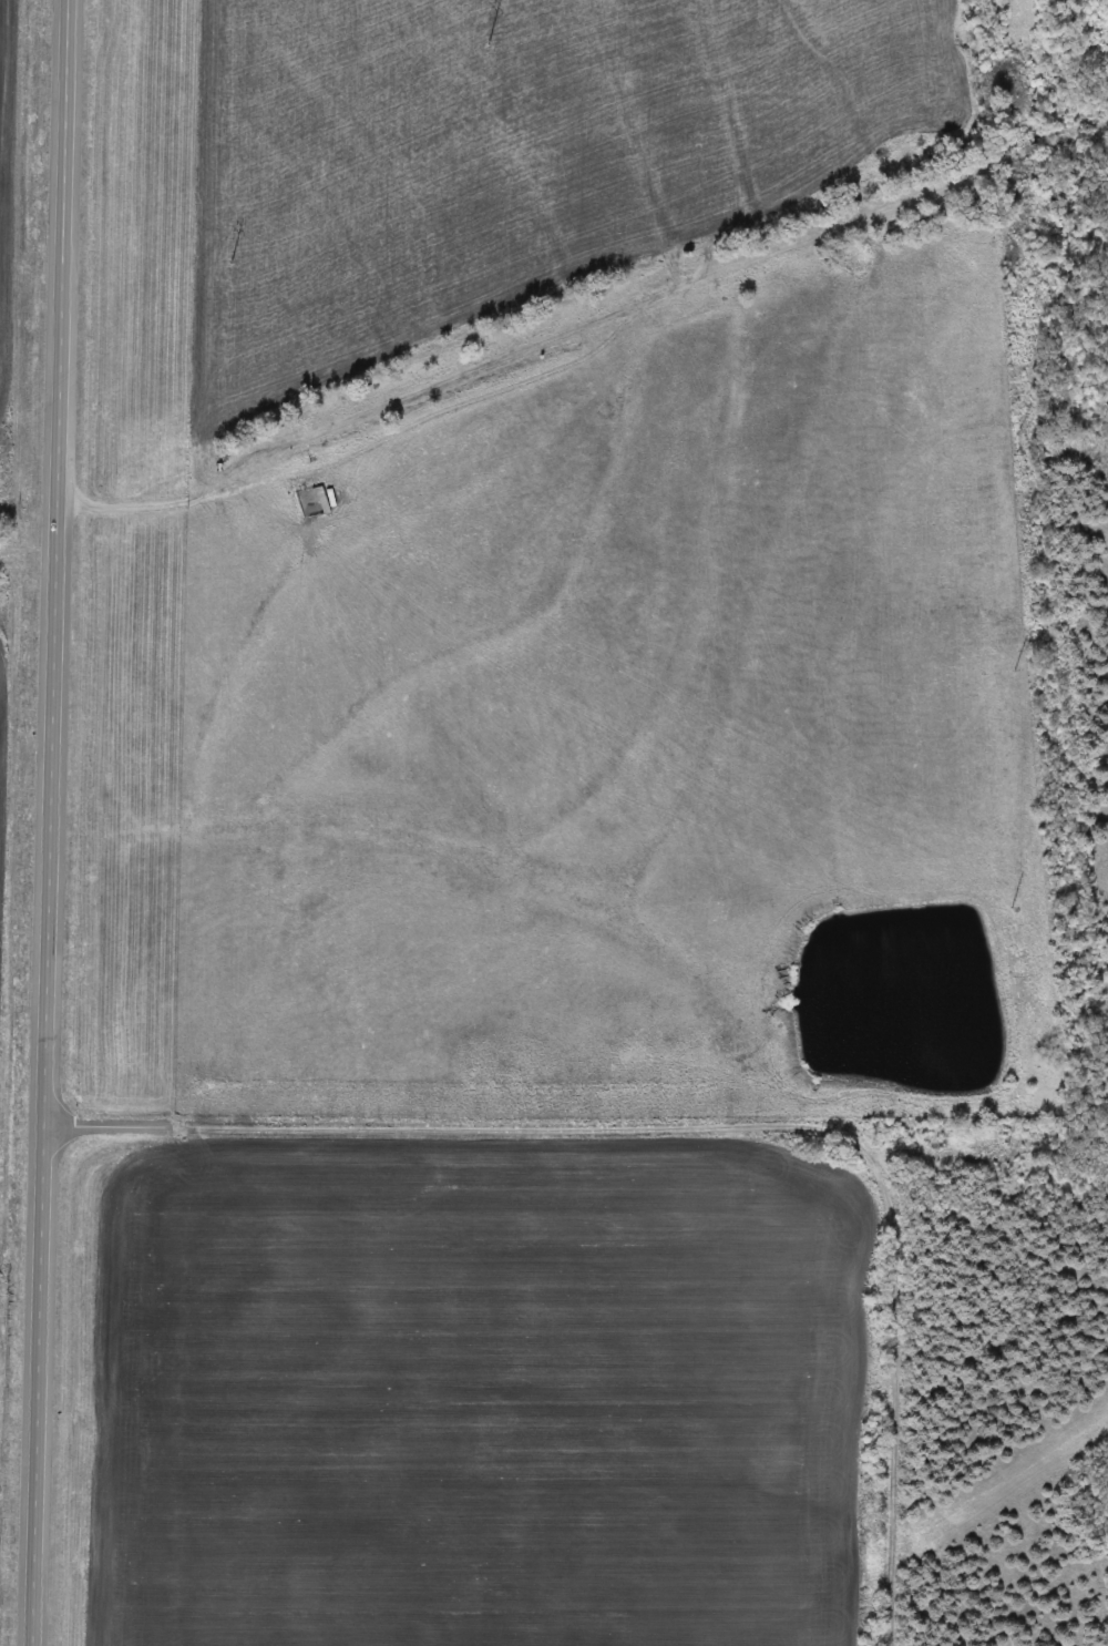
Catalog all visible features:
power tower: (474, 50)
power tower: (216, 268)
road: (151, 501)
road: (51, 822)
road: (706, 1133)

